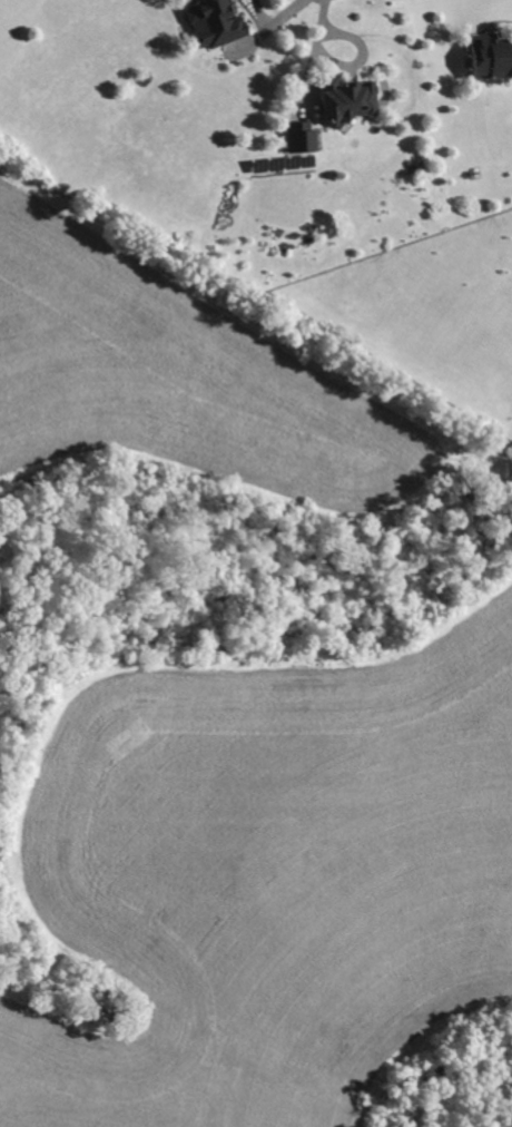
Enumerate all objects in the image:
road: (272, 21)
building: (209, 22)
building: (488, 56)
building: (342, 97)
building: (296, 136)

